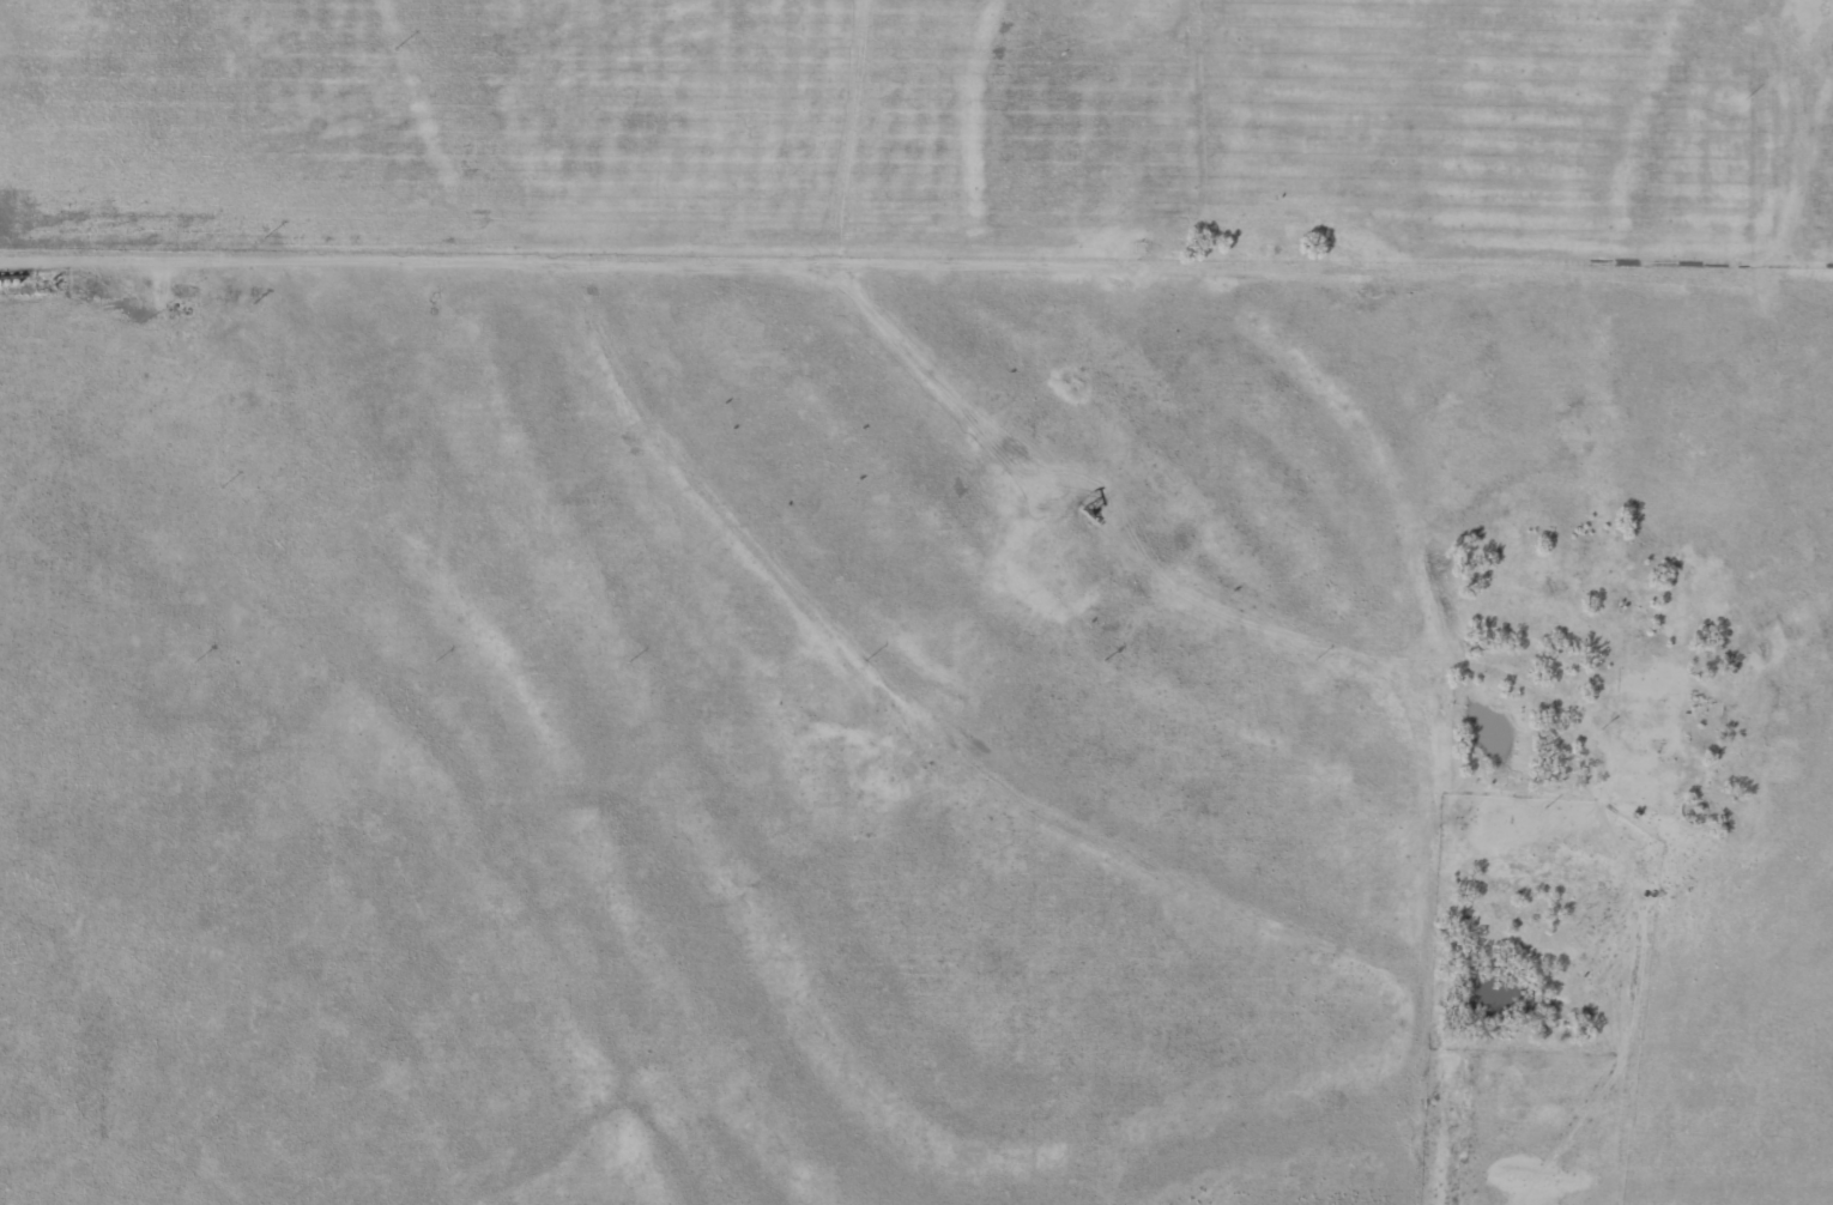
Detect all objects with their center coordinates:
road: (438, 243)
road: (1288, 248)
road: (1166, 564)

